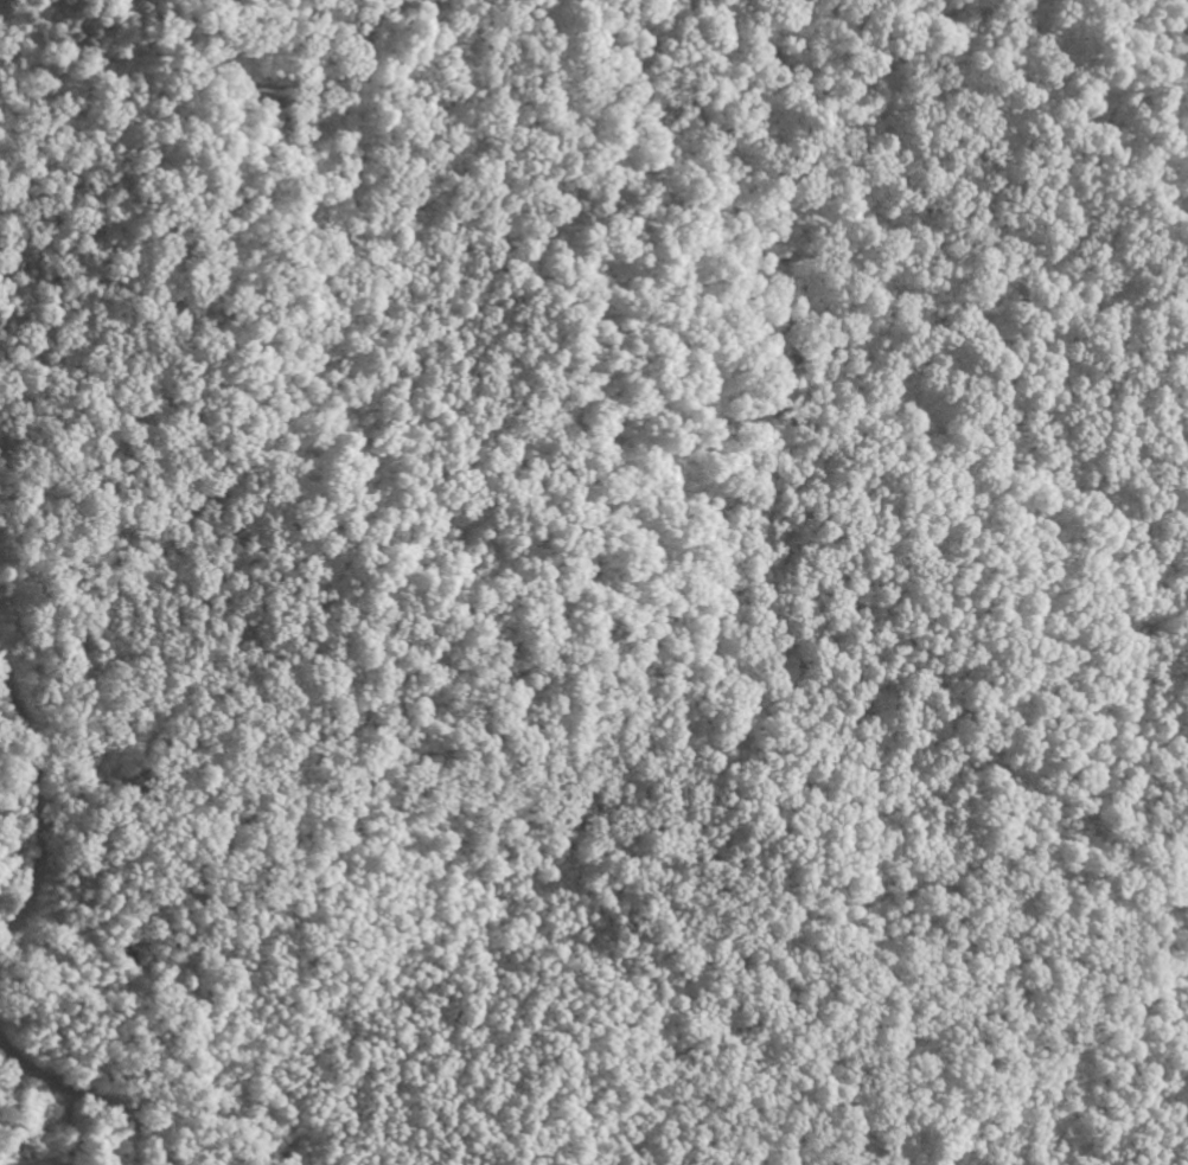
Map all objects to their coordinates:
road: (38, 808)
road: (88, 1097)

